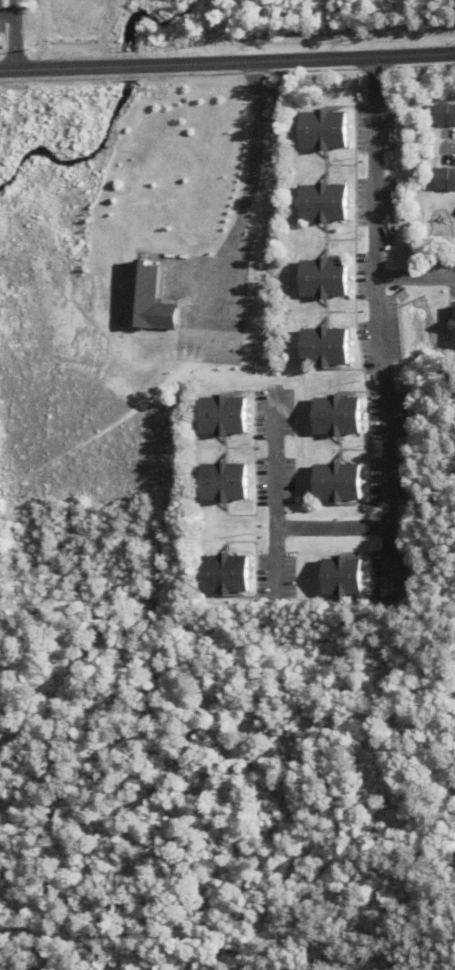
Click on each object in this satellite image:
park: (431, 27)
road: (227, 62)
building: (441, 115)
building: (317, 131)
road: (449, 145)
building: (441, 180)
road: (248, 182)
building: (317, 204)
building: (317, 279)
road: (414, 279)
building: (141, 300)
road: (377, 324)
building: (450, 326)
building: (319, 348)
building: (331, 416)
building: (216, 417)
building: (217, 483)
building: (331, 484)
road: (273, 495)
road: (330, 529)
building: (219, 575)
building: (336, 578)

